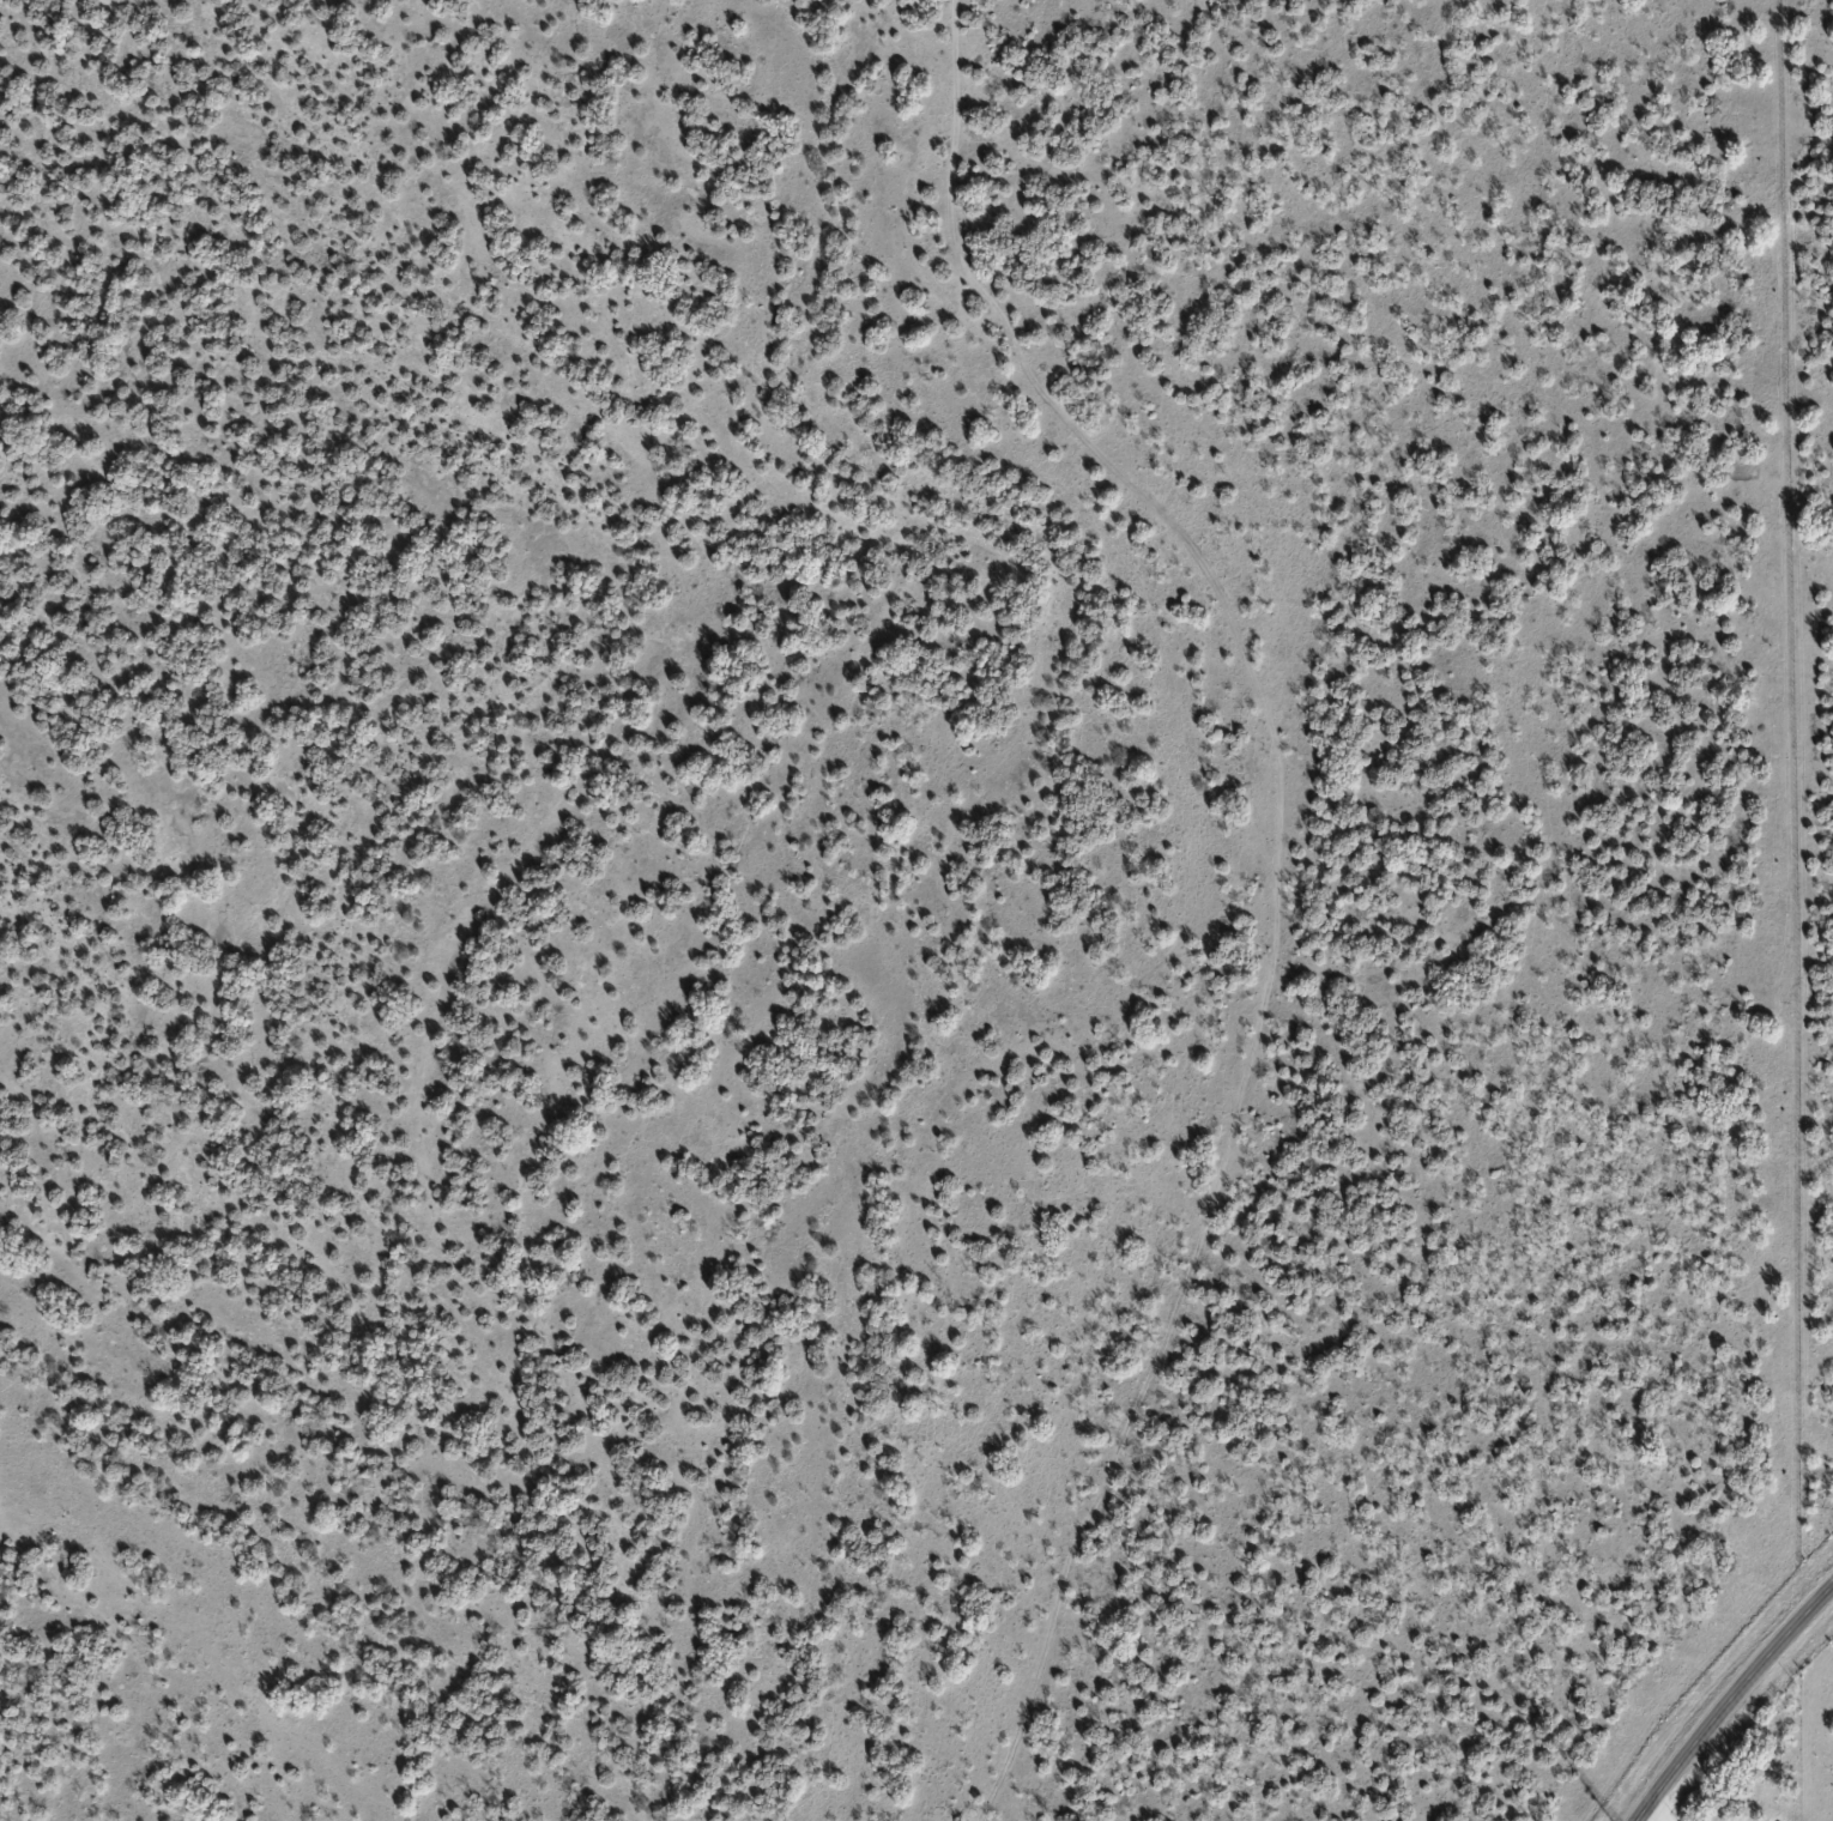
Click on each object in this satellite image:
road: (1731, 1700)

